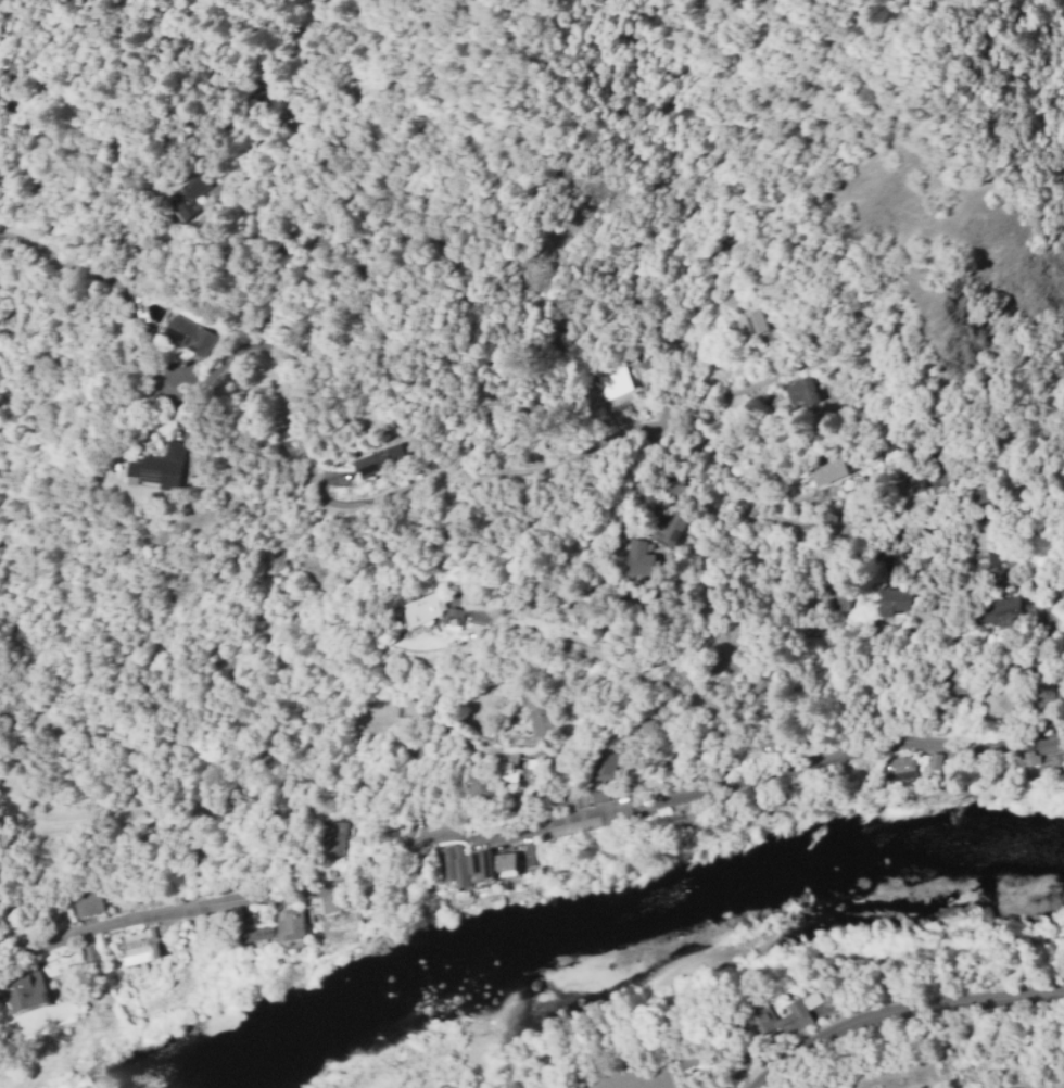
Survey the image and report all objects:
building: (185, 194)
building: (727, 301)
building: (751, 325)
building: (191, 332)
building: (611, 379)
building: (796, 393)
road: (719, 396)
road: (295, 427)
building: (687, 445)
building: (377, 459)
building: (167, 463)
building: (831, 470)
building: (676, 483)
building: (981, 492)
road: (758, 518)
building: (676, 522)
building: (984, 553)
building: (826, 554)
building: (643, 555)
building: (1014, 564)
building: (888, 571)
road: (966, 577)
building: (548, 586)
building: (833, 593)
building: (891, 602)
road: (490, 605)
building: (422, 608)
building: (1000, 612)
building: (585, 613)
building: (453, 617)
building: (1027, 668)
building: (962, 676)
building: (798, 679)
building: (1043, 696)
building: (1003, 701)
building: (542, 708)
building: (773, 741)
building: (1027, 756)
building: (940, 757)
building: (738, 759)
building: (510, 761)
building: (935, 761)
building: (1053, 763)
building: (603, 767)
building: (899, 769)
building: (866, 772)
building: (632, 773)
building: (510, 776)
building: (480, 787)
building: (597, 793)
building: (510, 797)
building: (575, 800)
building: (420, 807)
road: (532, 833)
building: (335, 837)
building: (533, 853)
building: (507, 859)
building: (484, 862)
building: (454, 865)
building: (337, 900)
building: (88, 901)
river: (642, 913)
building: (248, 920)
building: (290, 926)
building: (316, 926)
building: (256, 932)
building: (142, 948)
building: (92, 954)
building: (0, 982)
building: (26, 990)
building: (813, 1000)
road: (897, 1008)
building: (757, 1020)

